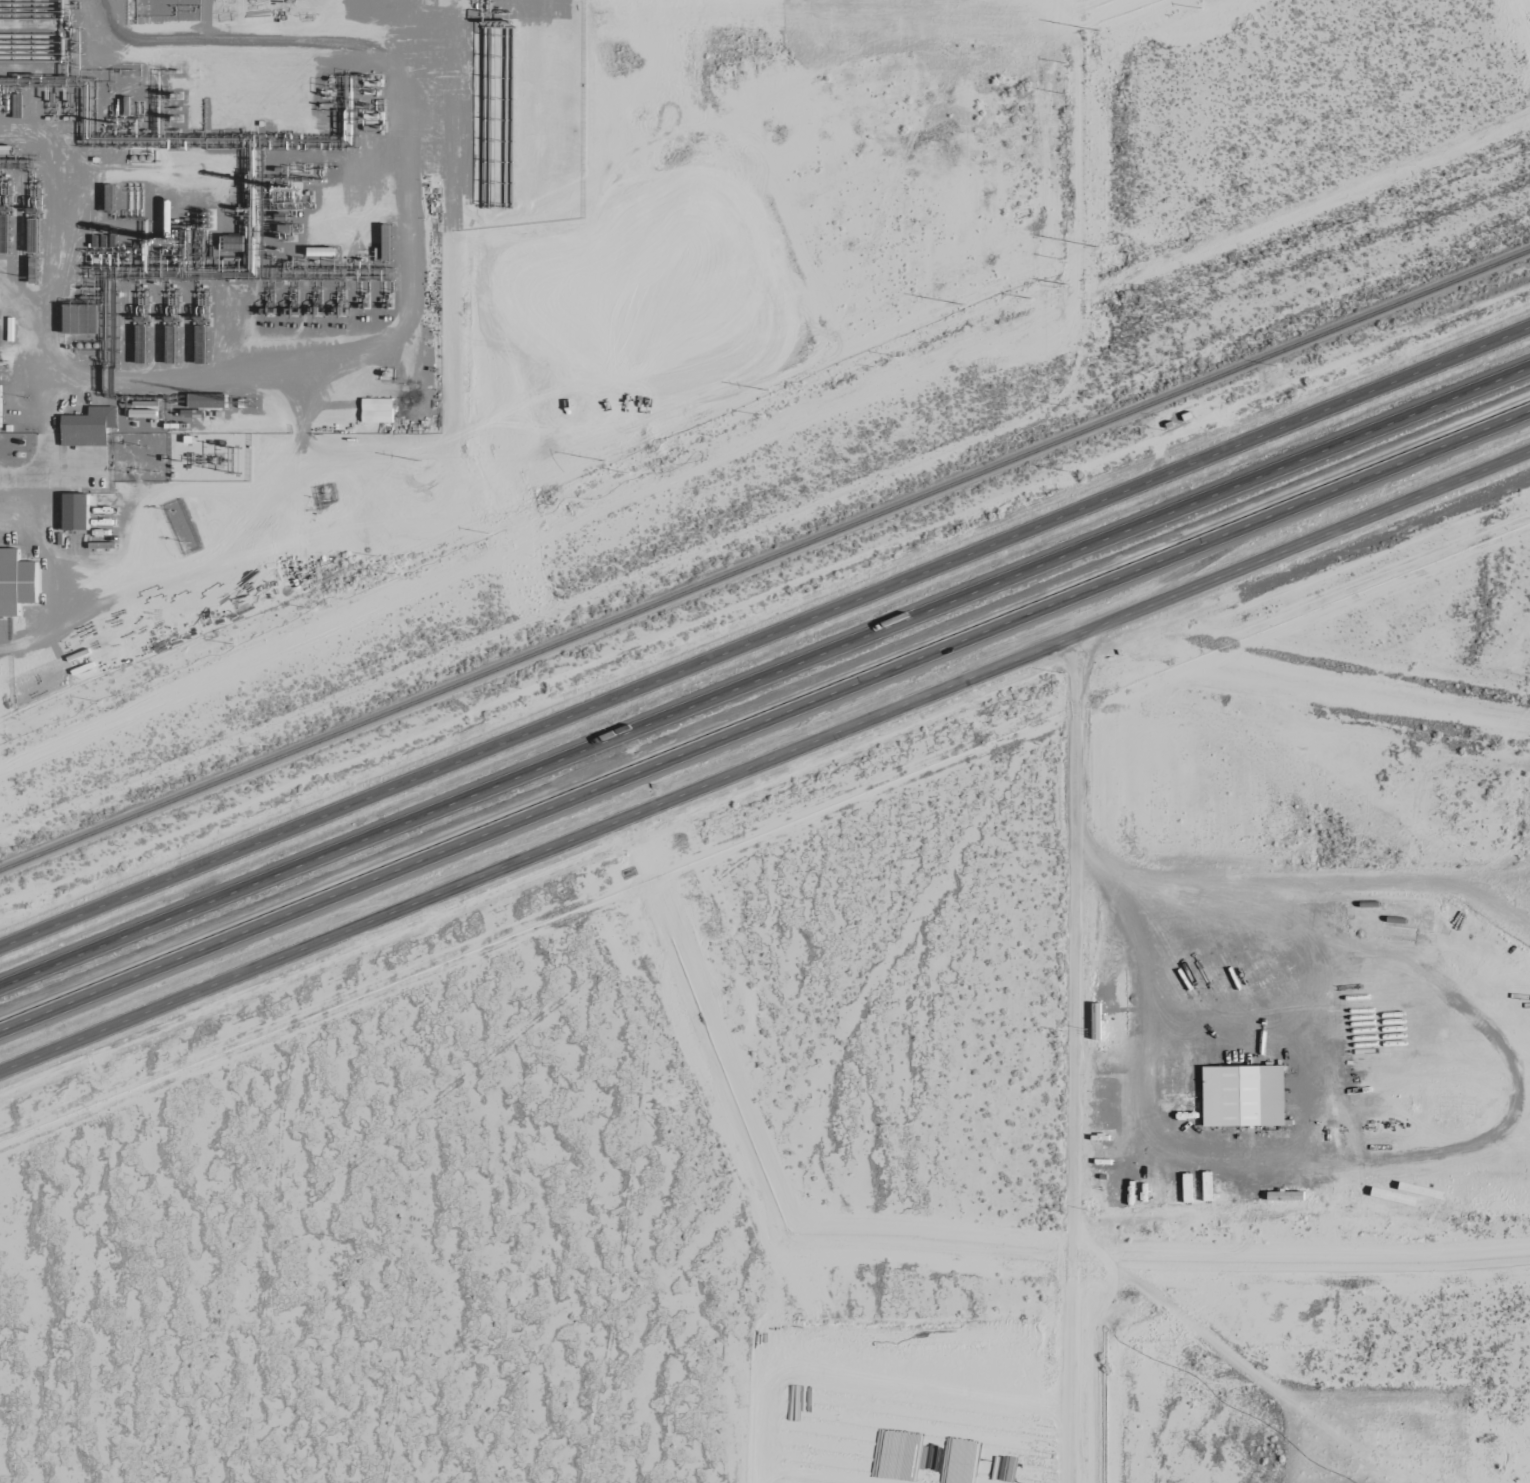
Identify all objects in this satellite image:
building: (378, 412)
building: (141, 415)
building: (103, 417)
power substation: (210, 458)
building: (77, 512)
railway: (765, 562)
building: (20, 581)
road: (764, 637)
road: (765, 677)
road: (765, 722)
road: (764, 772)
road: (1073, 1063)
building: (1245, 1098)
building: (1290, 1197)

